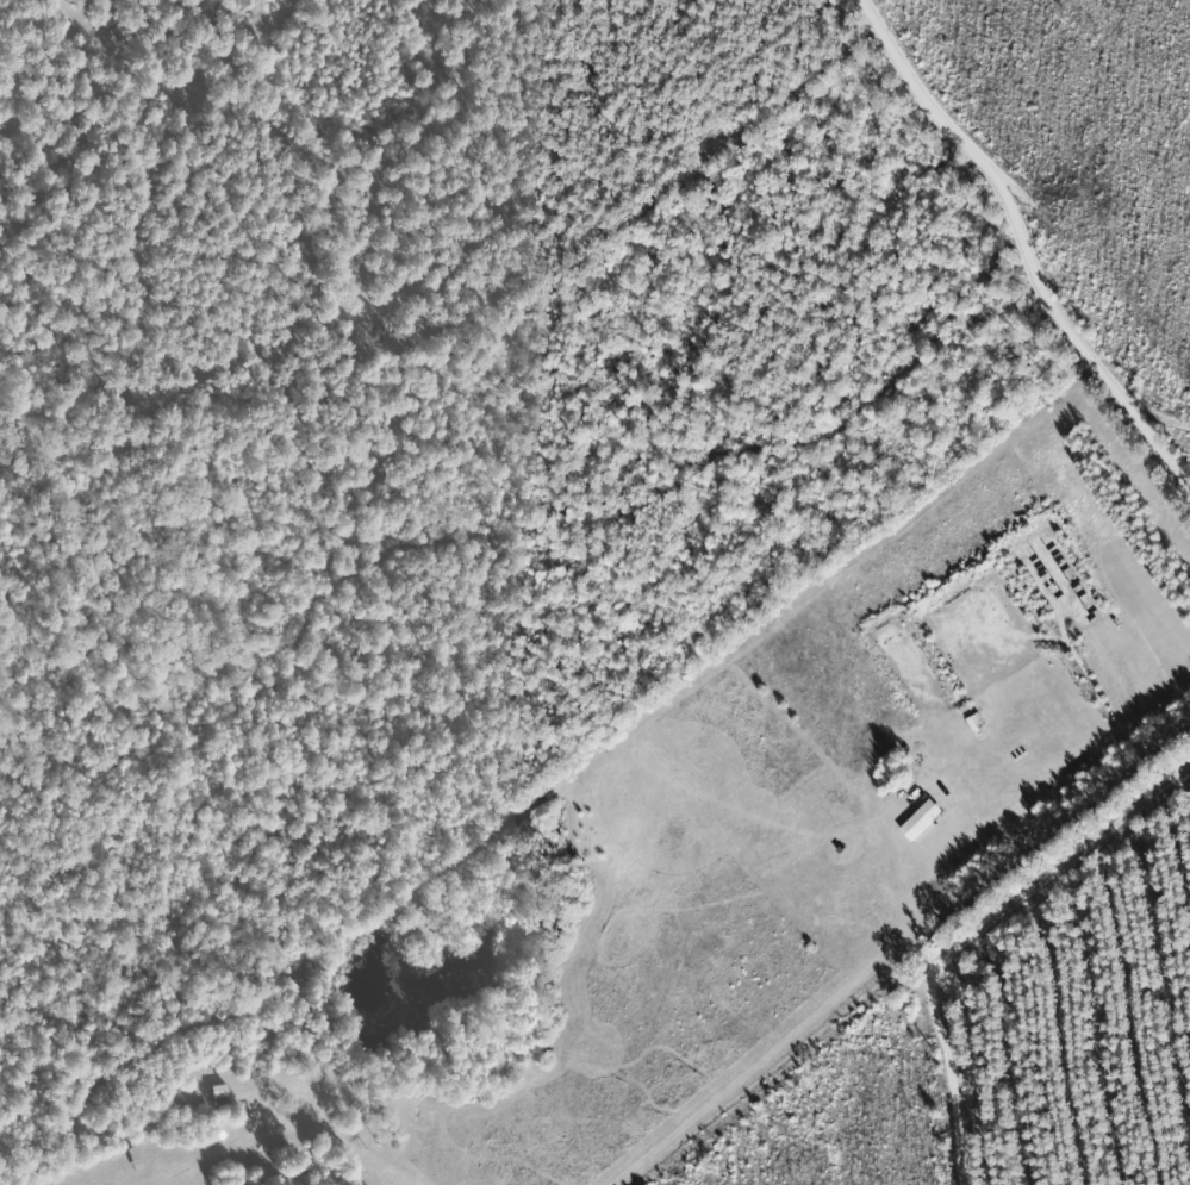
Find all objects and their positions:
building: (124, 33)
building: (585, 83)
road: (1017, 256)
road: (289, 343)
road: (523, 500)
road: (831, 681)
building: (891, 766)
road: (1043, 834)

